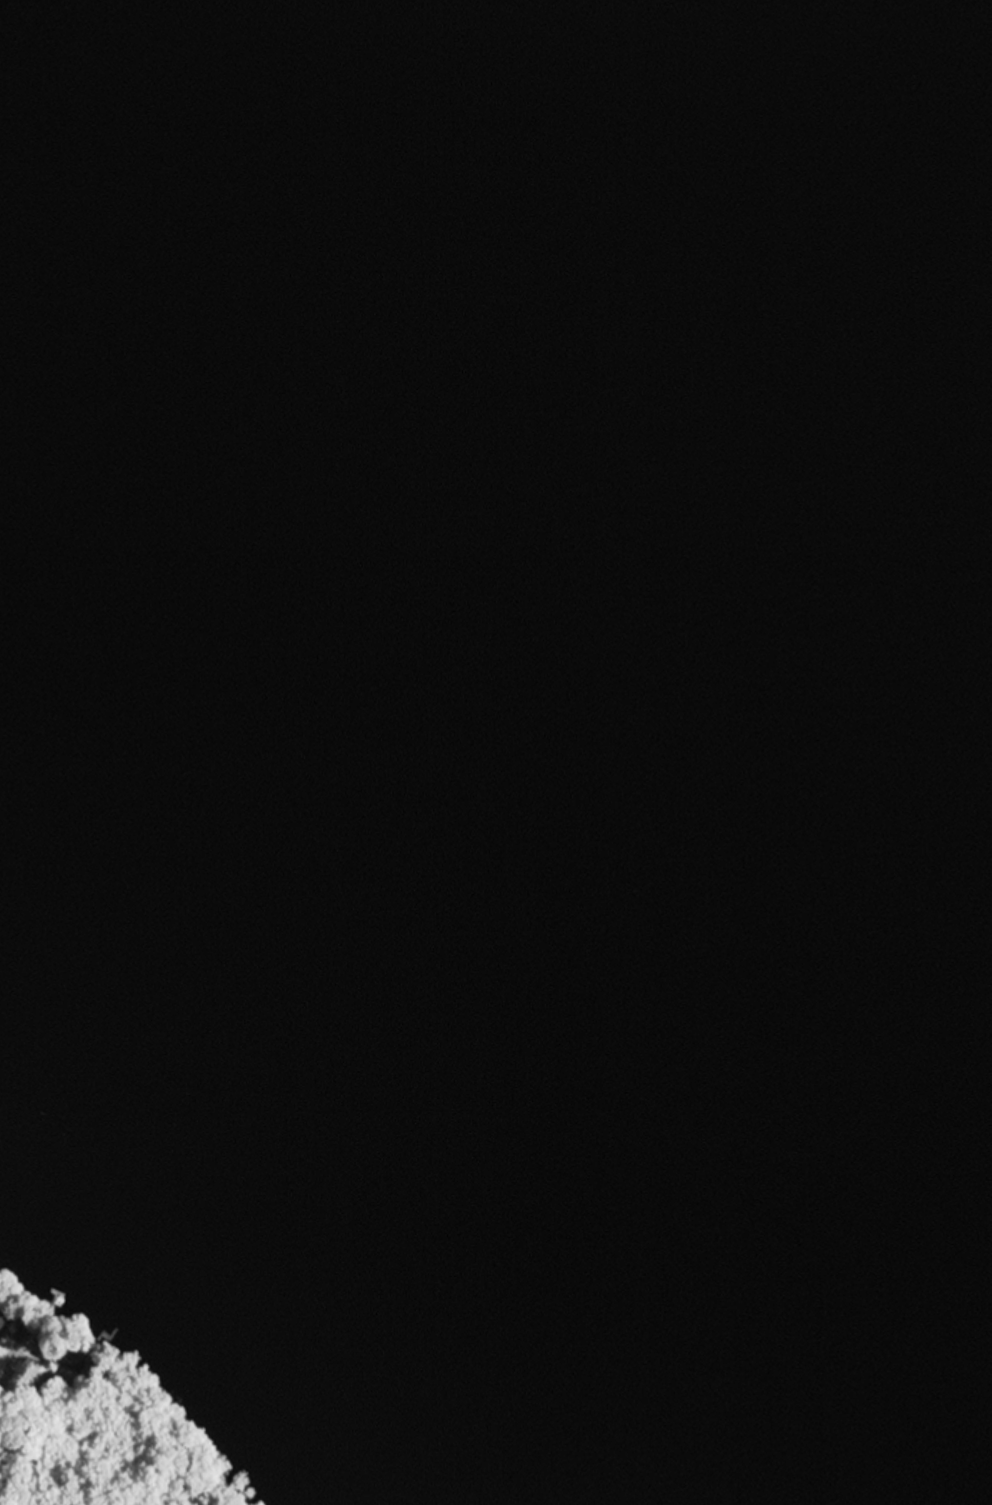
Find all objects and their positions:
building: (4, 1321)
building: (71, 1361)

